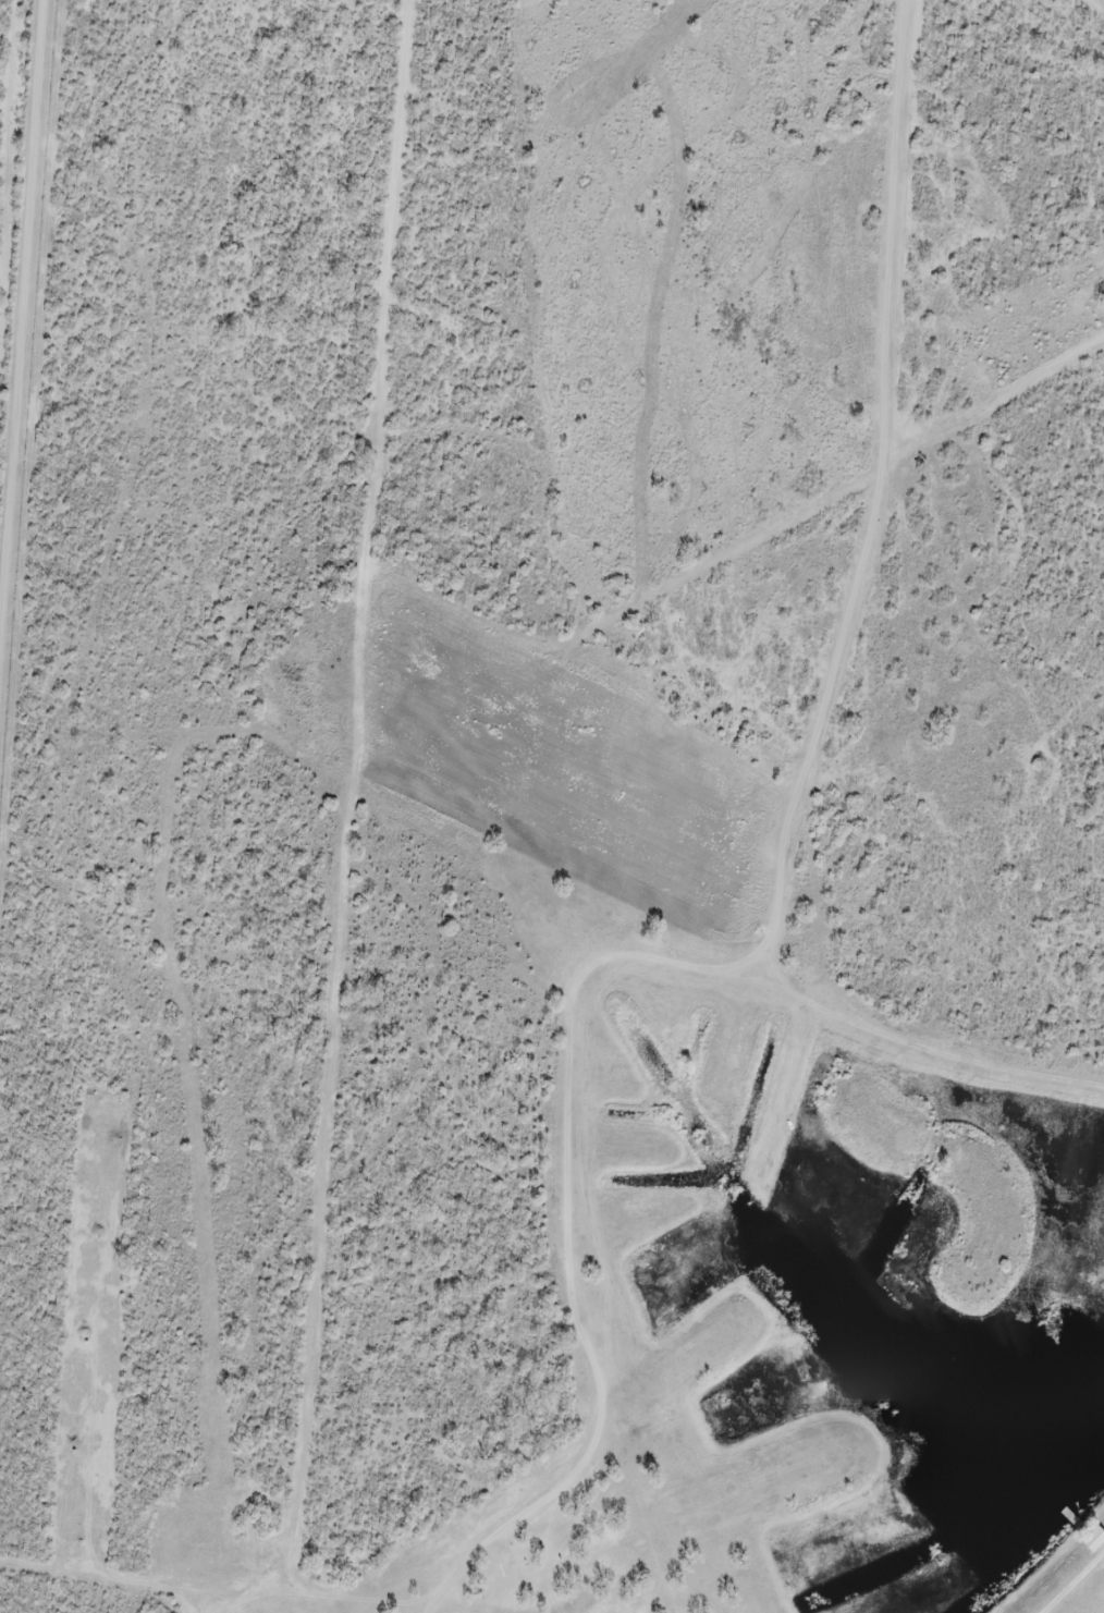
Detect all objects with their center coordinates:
road: (29, 335)
road: (341, 940)
building: (1093, 1539)
dam: (1072, 1581)

